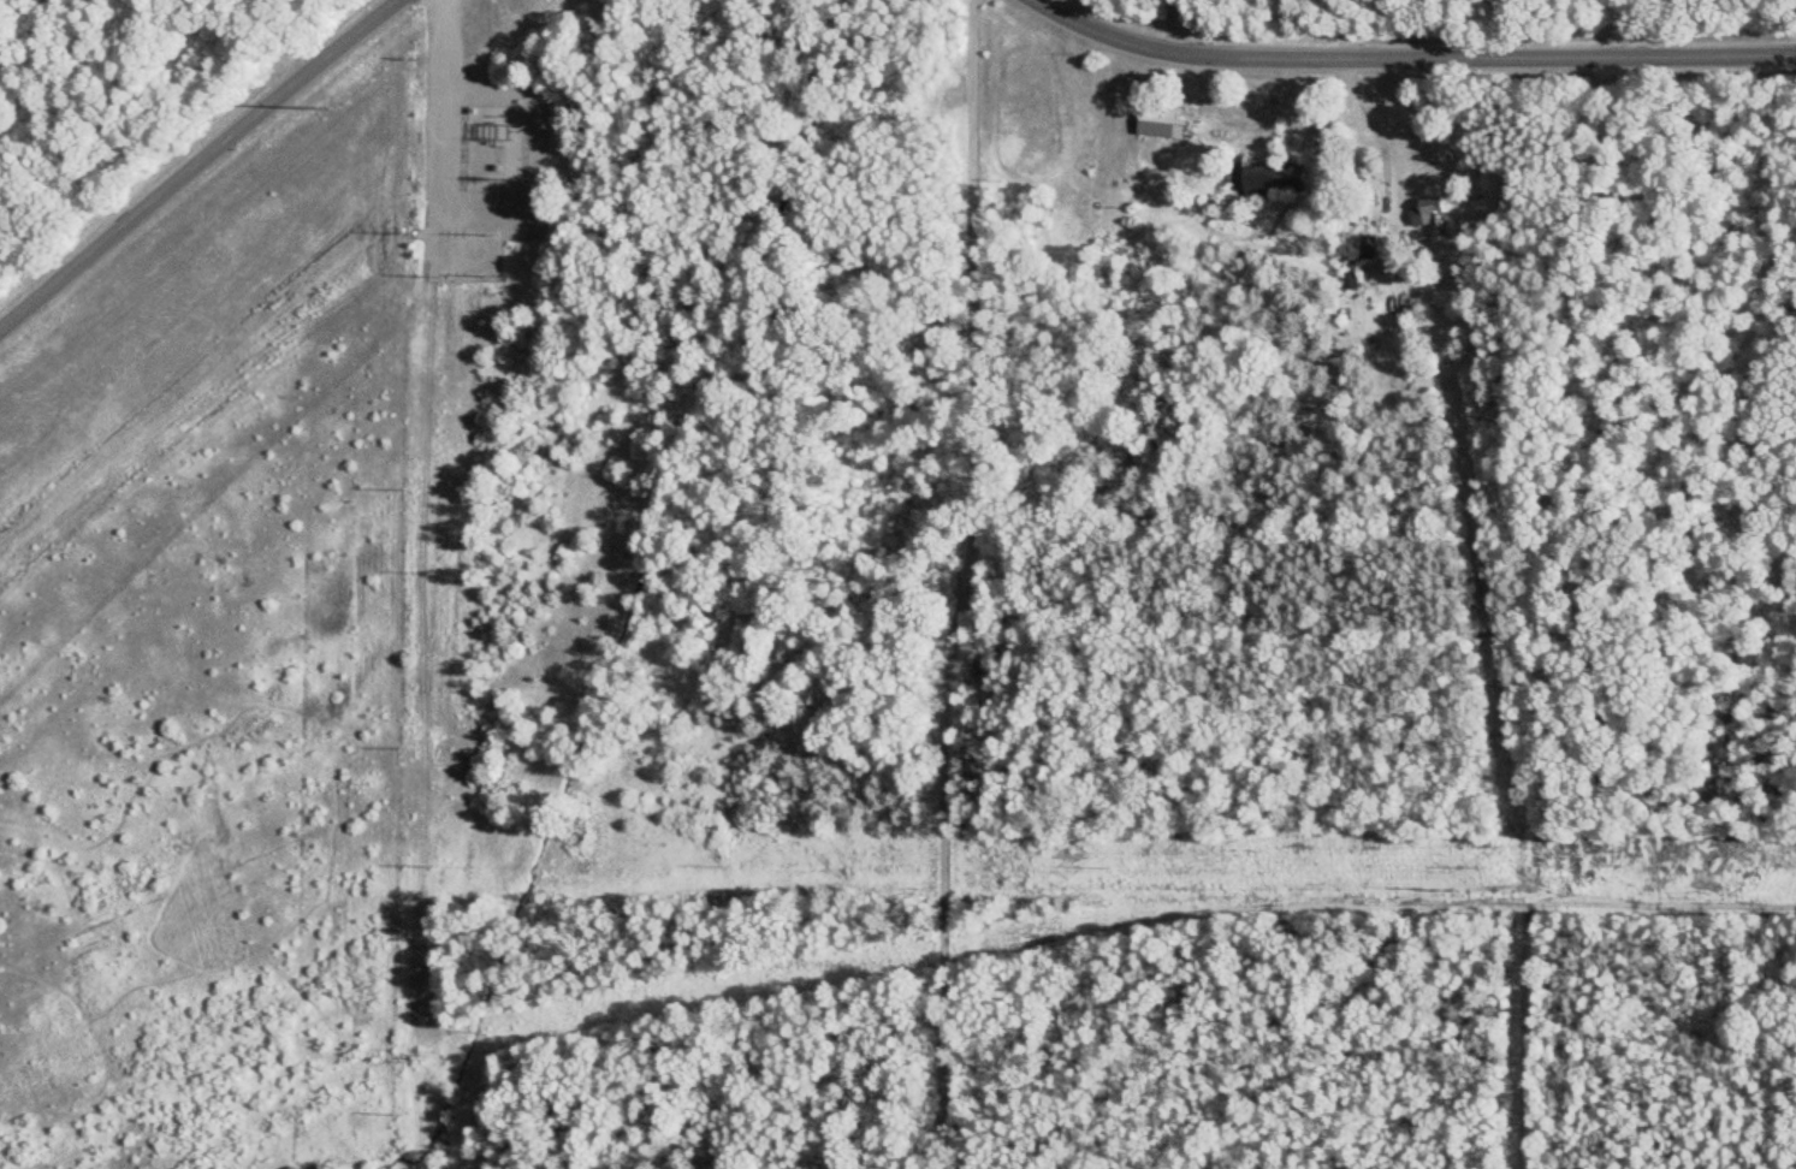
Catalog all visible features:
road: (1632, 24)
road: (1175, 26)
road: (1407, 58)
power tower: (410, 66)
road: (435, 93)
power tower: (309, 109)
building: (1157, 127)
power substation: (497, 147)
road: (191, 153)
road: (451, 154)
building: (1267, 182)
building: (1425, 213)
power tower: (411, 235)
power tower: (491, 236)
power tower: (490, 275)
power tower: (439, 277)
power tower: (410, 399)
power tower: (443, 572)
road: (965, 584)
power tower: (427, 864)

